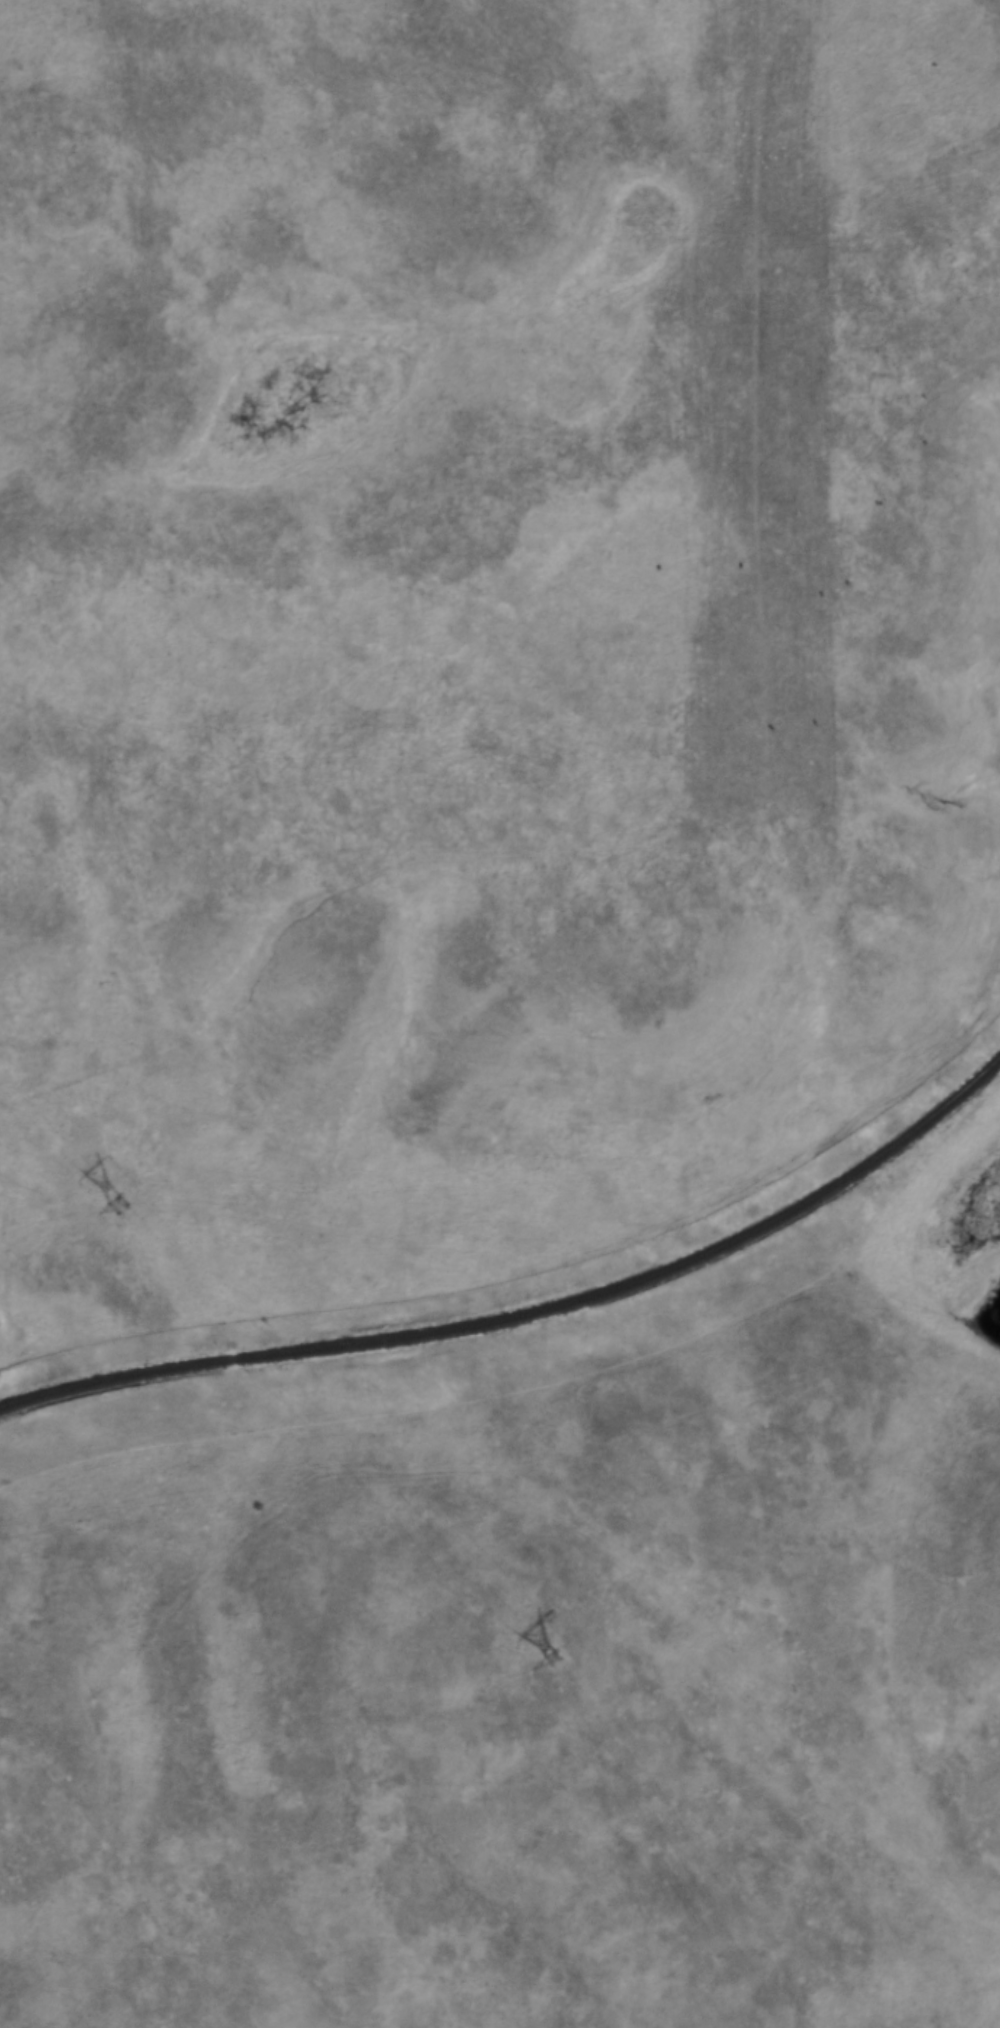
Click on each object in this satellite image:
power tower: (114, 1210)
railway: (531, 1313)
power tower: (553, 1660)

